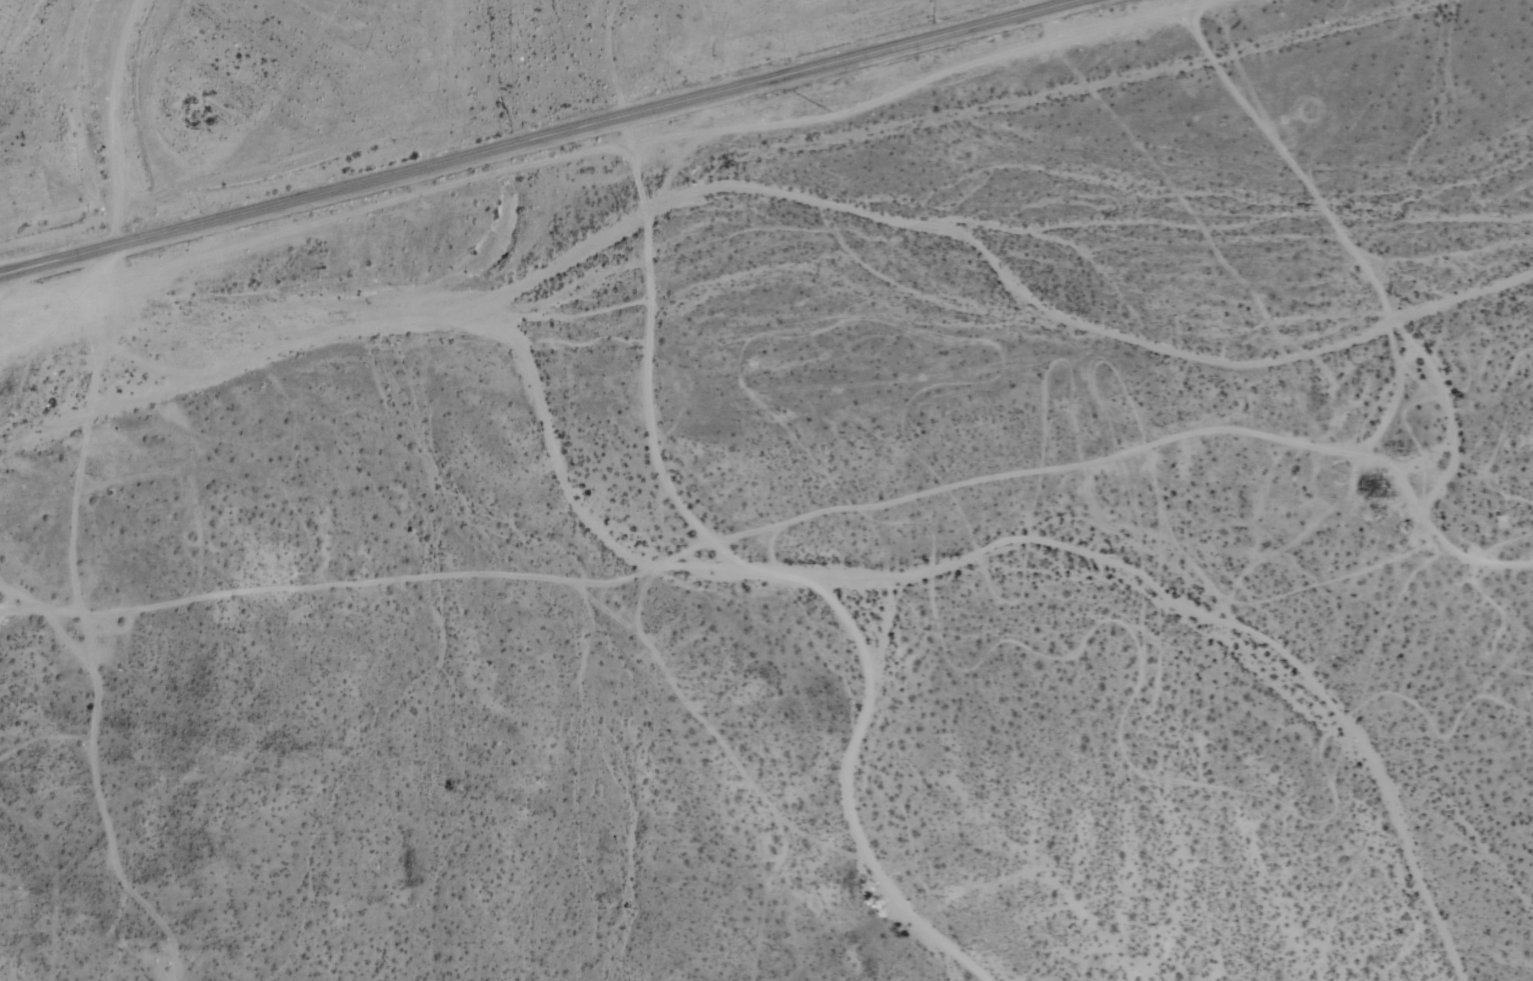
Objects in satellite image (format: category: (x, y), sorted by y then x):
road: (541, 137)
road: (765, 575)

